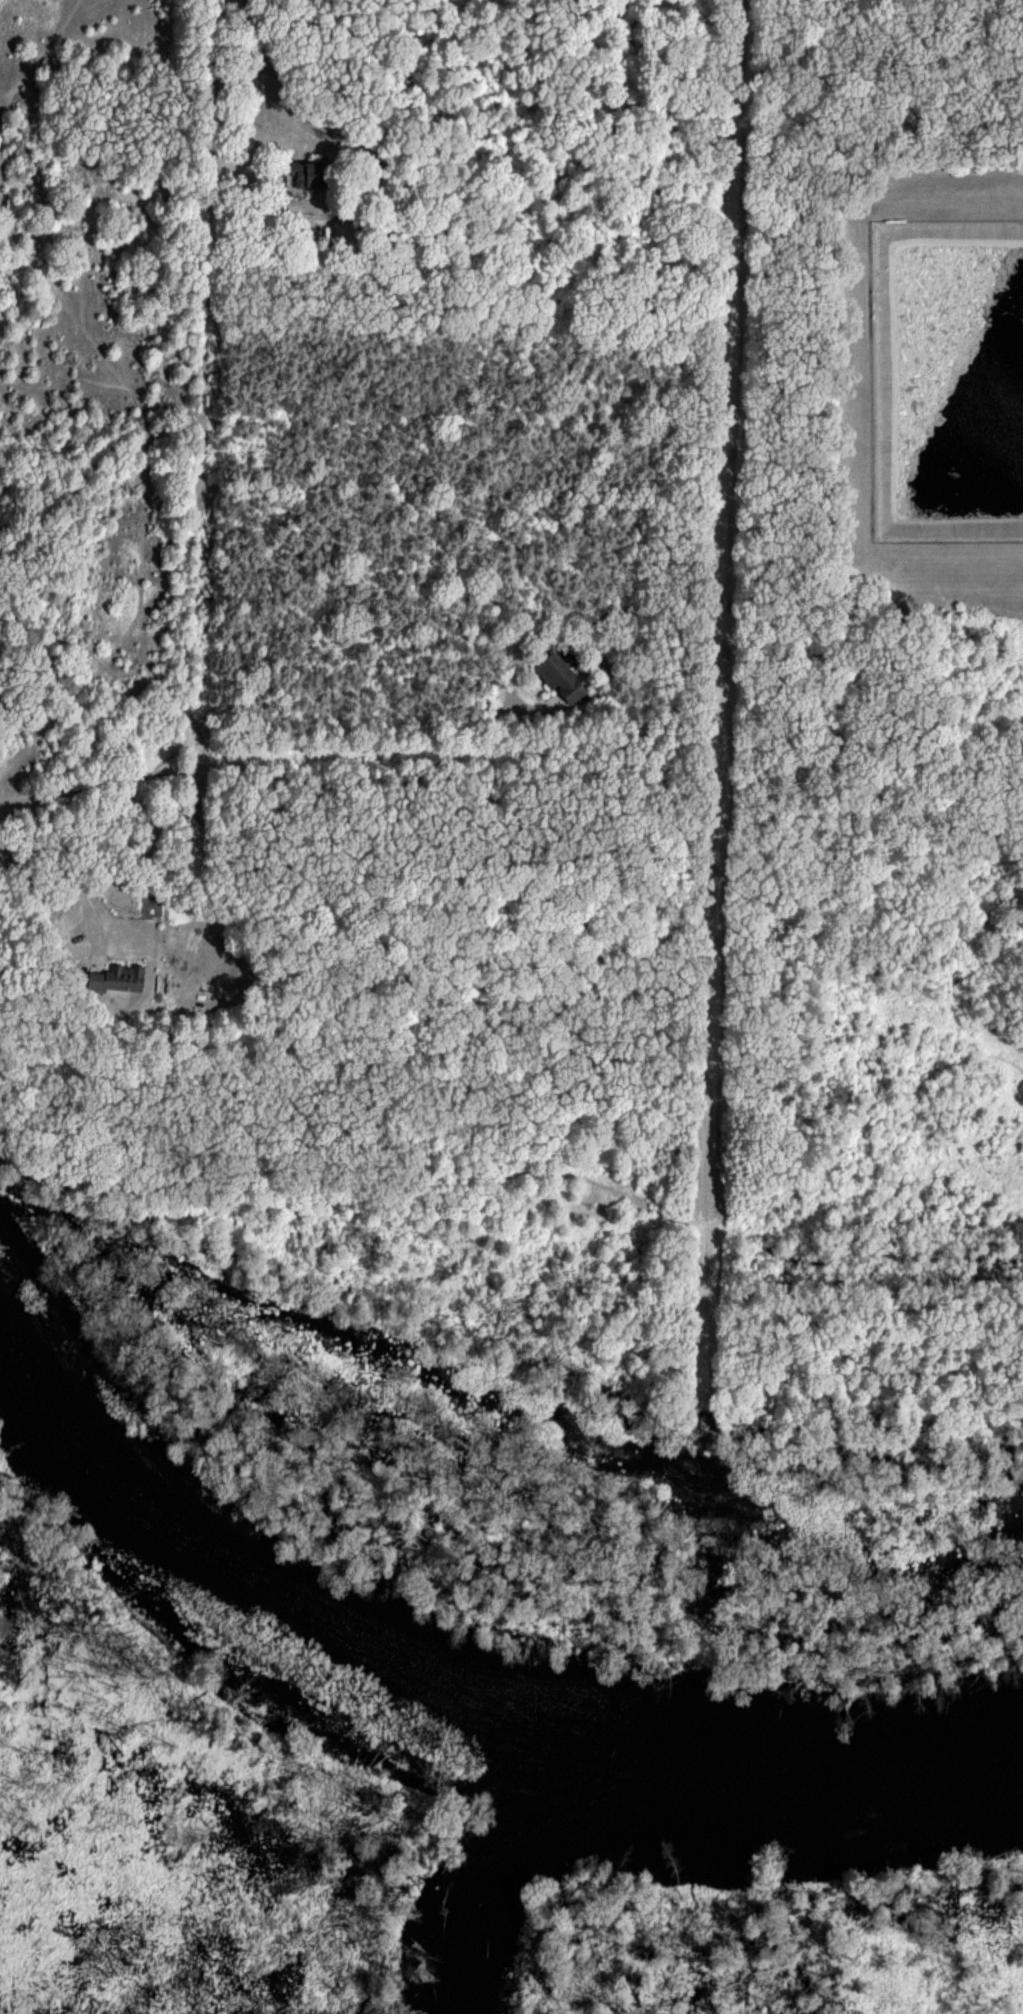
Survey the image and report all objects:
road: (277, 82)
wastewater plant: (939, 413)
building: (558, 679)
road: (484, 731)
road: (215, 764)
road: (55, 861)
building: (113, 979)
river: (444, 1713)

